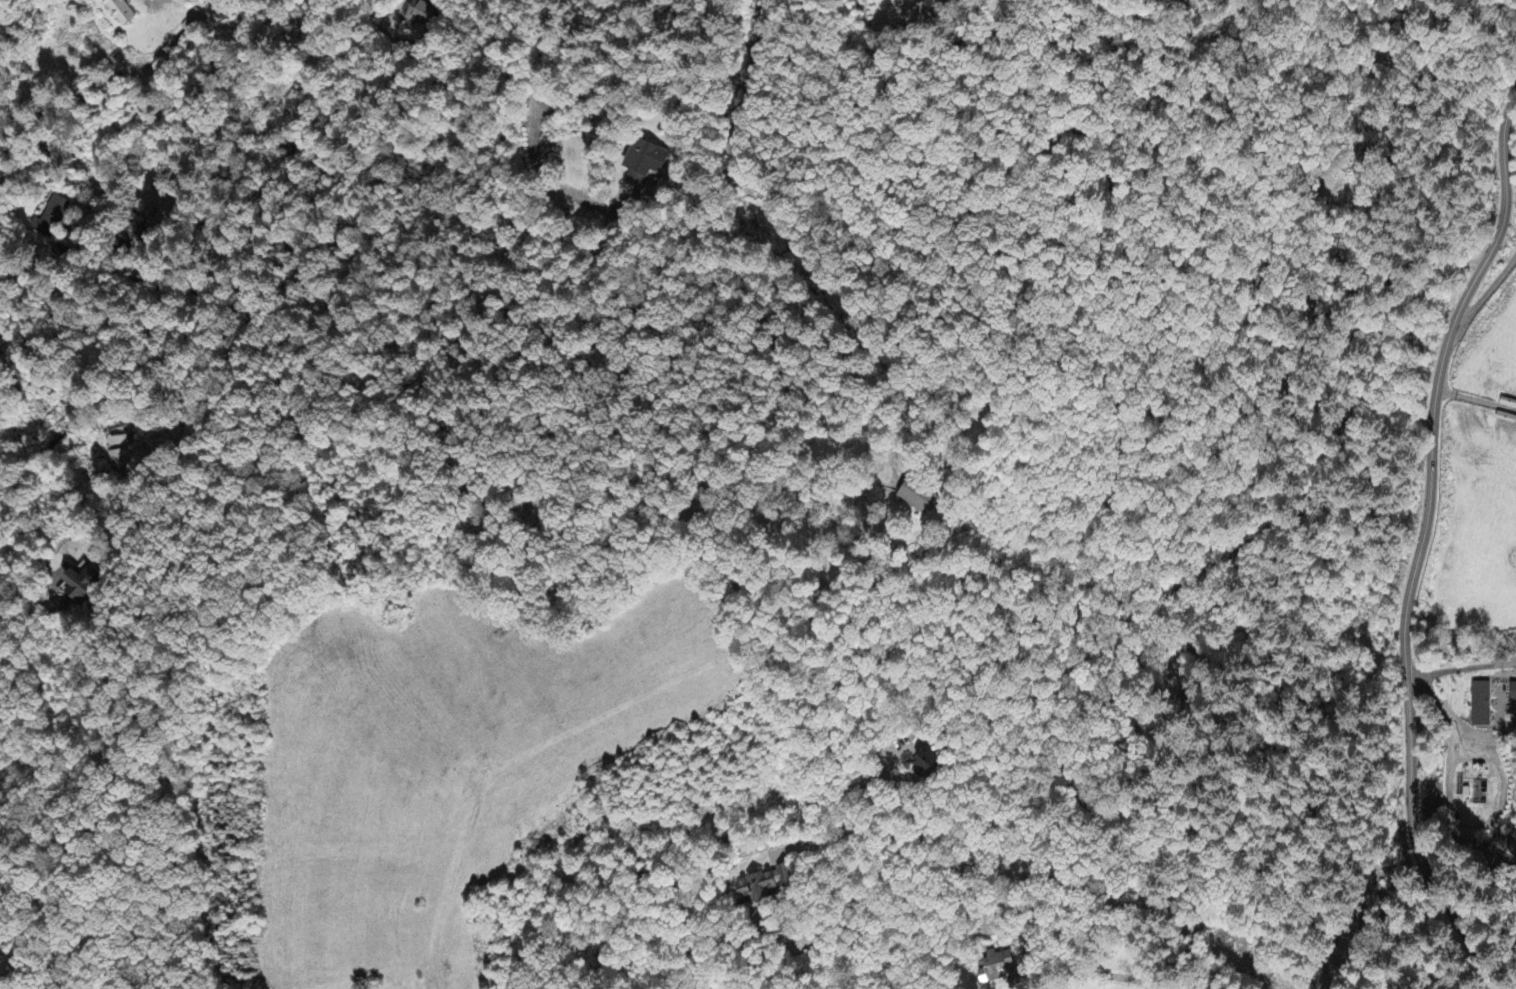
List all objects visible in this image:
building: (120, 12)
building: (421, 14)
building: (193, 23)
road: (861, 120)
building: (644, 163)
building: (51, 218)
road: (1489, 289)
road: (195, 346)
road: (1143, 390)
road: (203, 429)
building: (119, 452)
road: (168, 486)
building: (916, 498)
road: (1420, 542)
road: (46, 616)
road: (1460, 667)
building: (1513, 694)
building: (1480, 706)
road: (602, 736)
building: (929, 763)
road: (904, 835)
building: (766, 885)
building: (995, 968)

